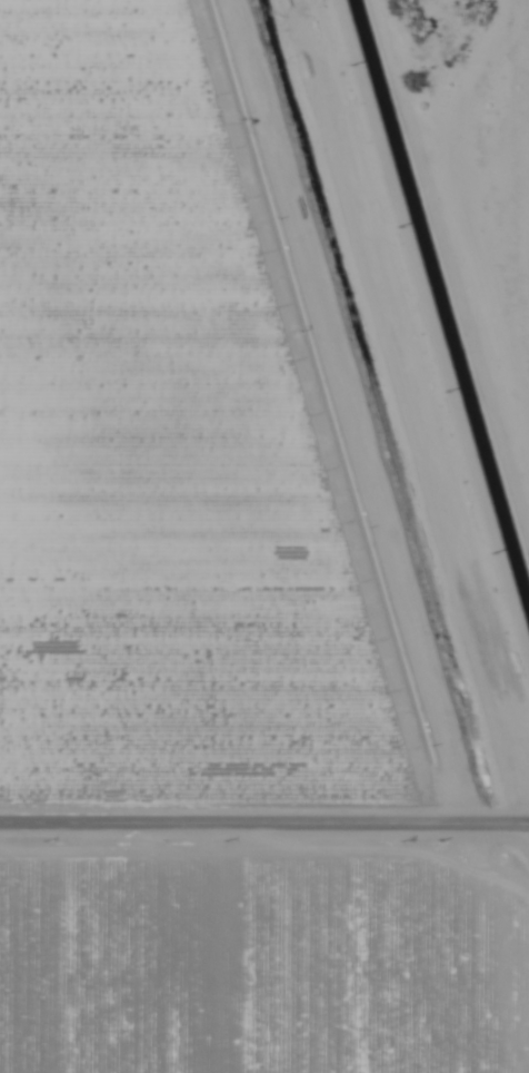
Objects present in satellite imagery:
road: (263, 823)

